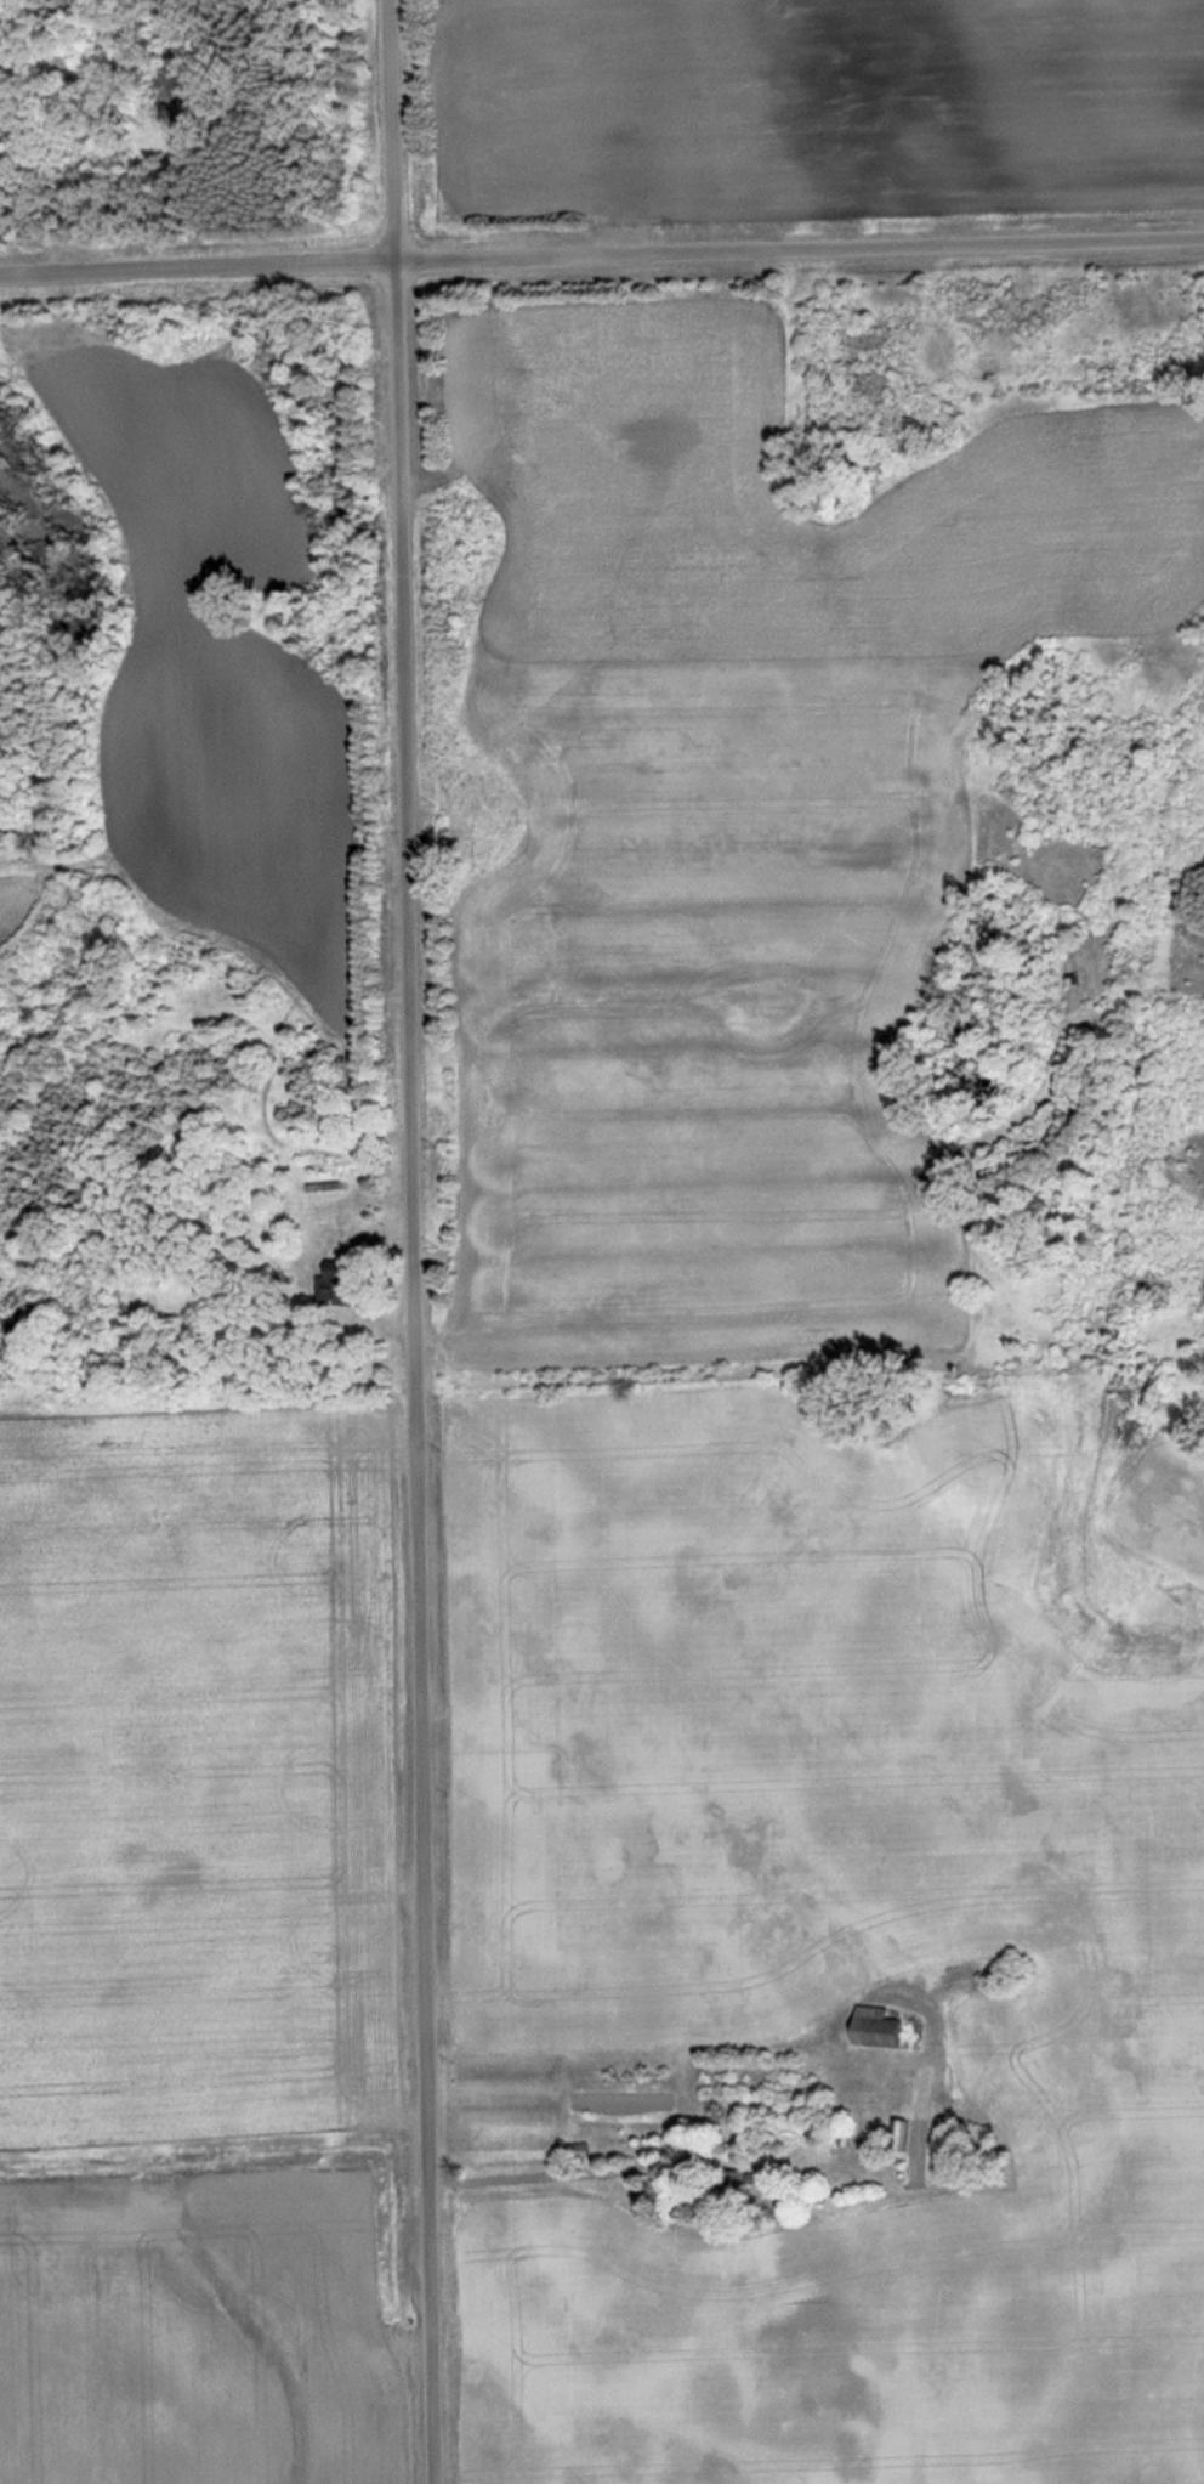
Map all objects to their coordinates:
road: (601, 254)
road: (408, 1241)
building: (341, 1286)
building: (882, 2030)
building: (580, 2150)
building: (720, 2197)

